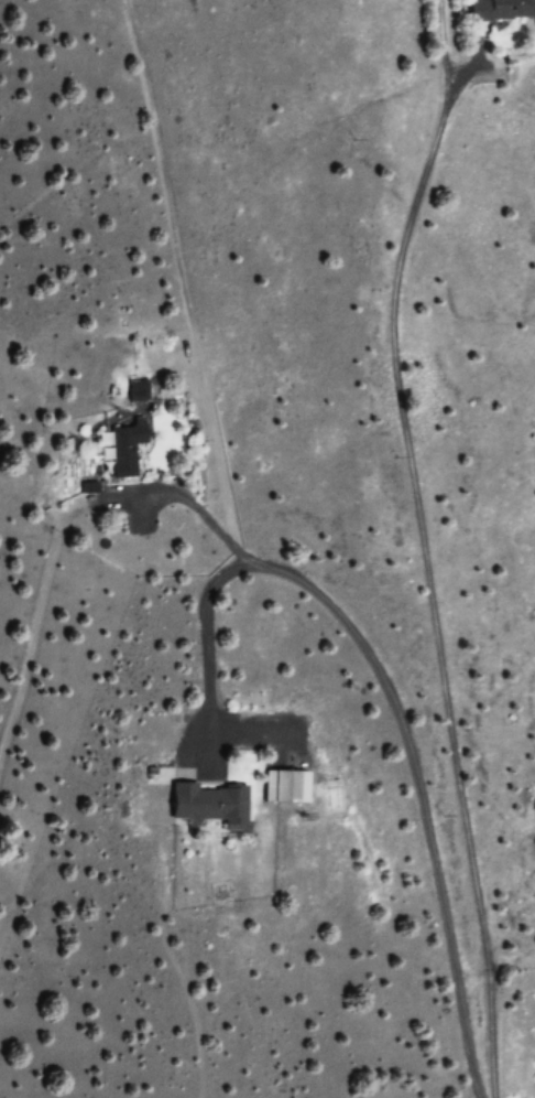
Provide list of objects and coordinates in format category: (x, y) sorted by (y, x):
building: (498, 9)
building: (125, 449)
building: (288, 786)
building: (208, 803)
road: (440, 885)

